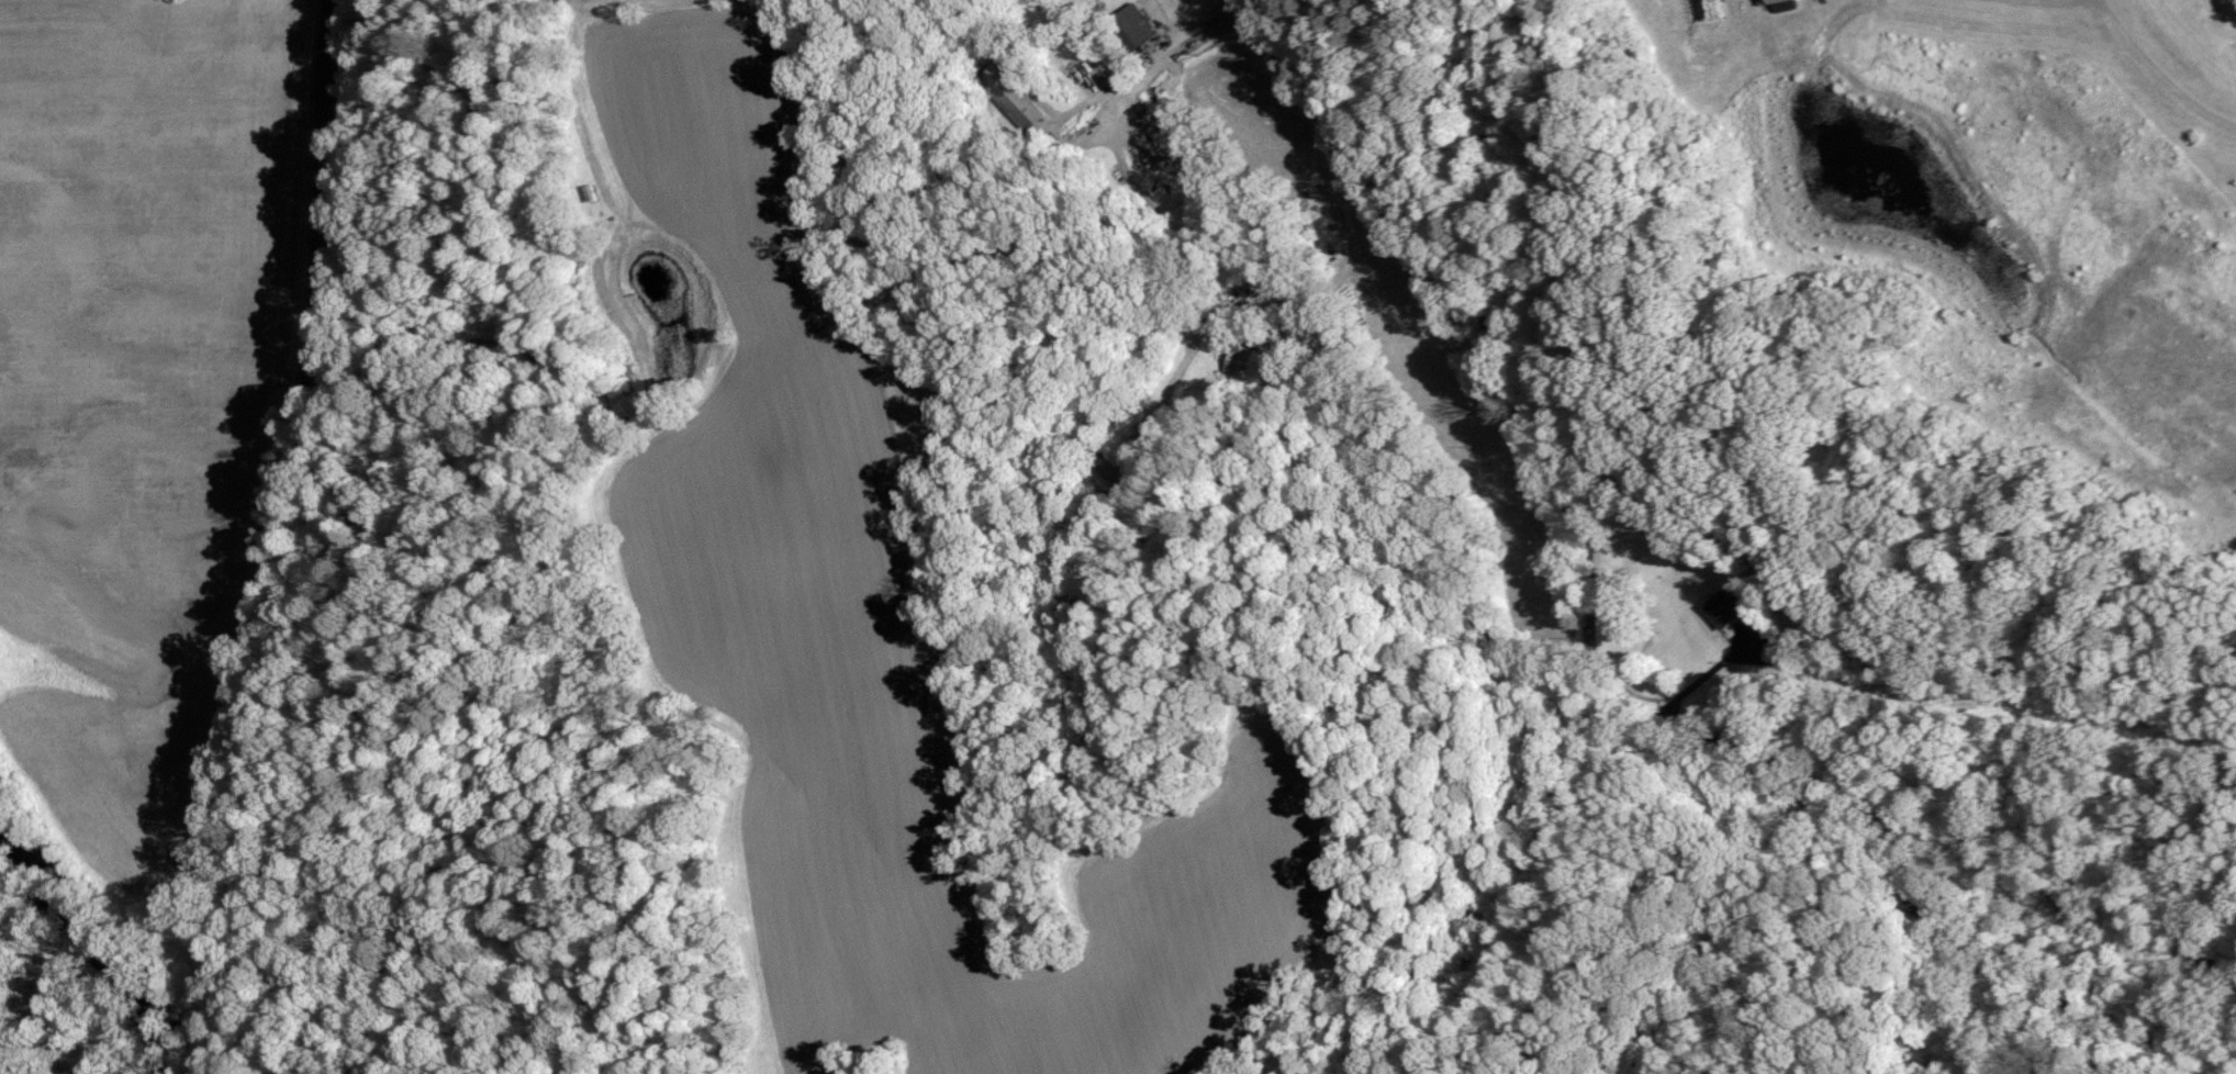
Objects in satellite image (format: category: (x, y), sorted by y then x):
building: (1765, 1)
road: (2106, 2)
building: (1133, 23)
road: (2139, 48)
building: (1013, 96)
road: (1342, 223)
building: (1255, 363)
road: (283, 537)
building: (1724, 608)
road: (1590, 653)
road: (1704, 674)
river: (89, 931)

